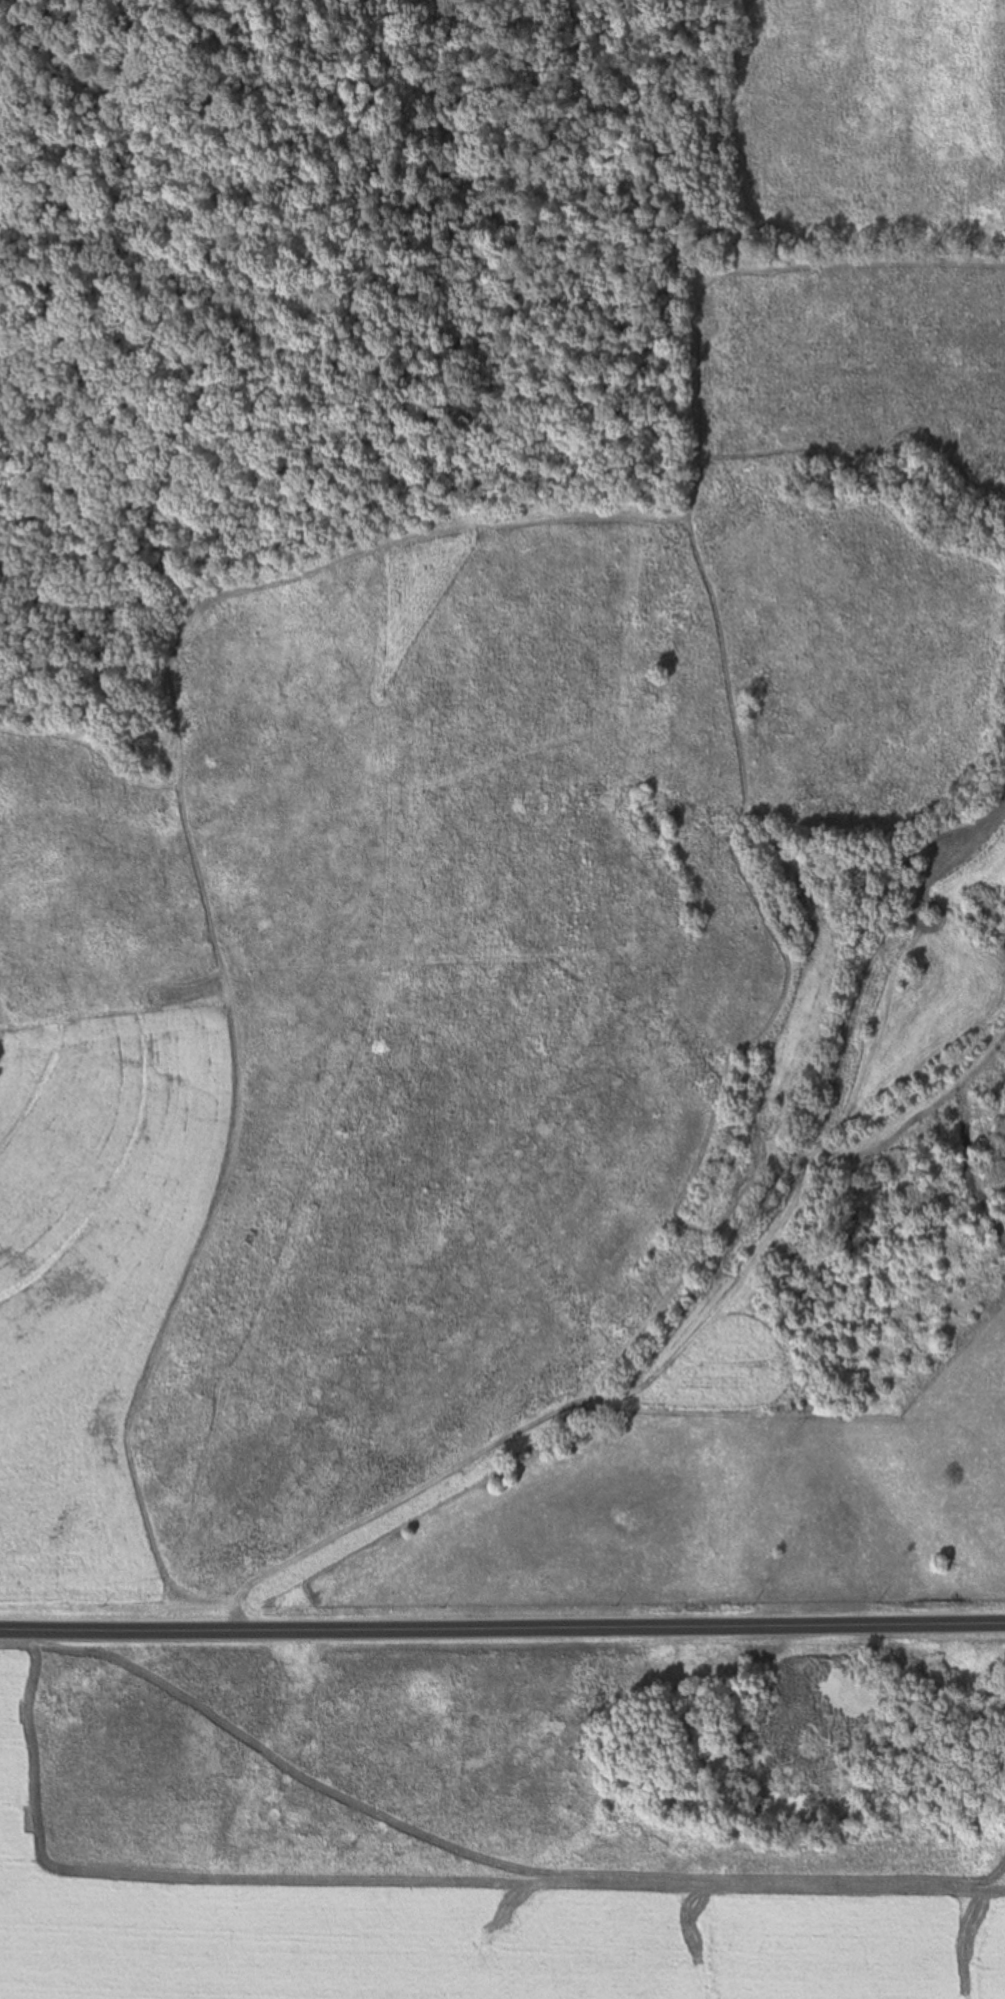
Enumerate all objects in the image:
road: (502, 1631)

